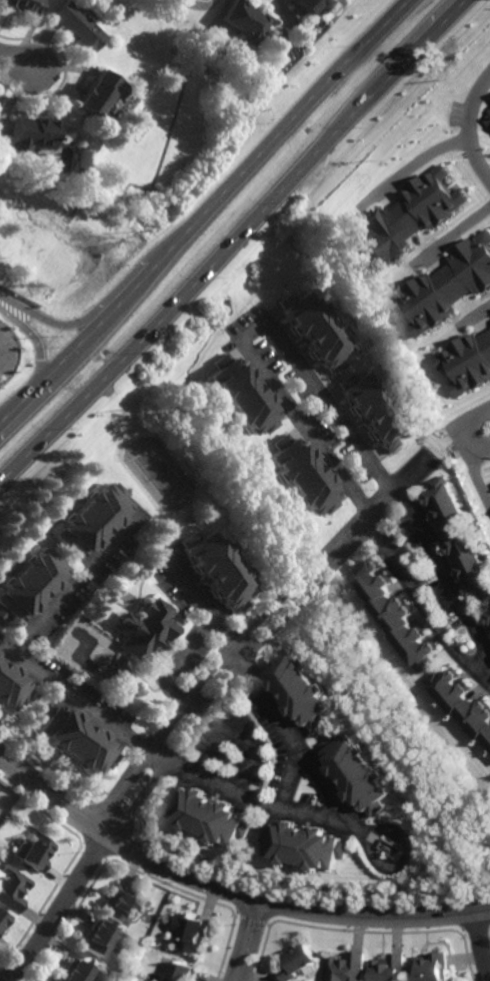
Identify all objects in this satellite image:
building: (23, 6)
building: (312, 6)
building: (245, 23)
building: (77, 27)
road: (17, 60)
building: (97, 96)
building: (489, 101)
building: (485, 116)
road: (470, 126)
building: (32, 134)
road: (417, 163)
road: (207, 210)
building: (405, 218)
road: (452, 235)
road: (228, 239)
building: (447, 284)
road: (477, 312)
road: (53, 322)
building: (317, 329)
road: (249, 332)
road: (33, 336)
building: (467, 361)
road: (78, 373)
building: (243, 395)
building: (376, 410)
road: (489, 419)
road: (489, 421)
road: (469, 464)
park: (159, 474)
building: (302, 476)
road: (382, 503)
building: (95, 518)
building: (457, 538)
road: (334, 552)
building: (218, 570)
road: (442, 578)
road: (79, 584)
building: (31, 586)
building: (489, 602)
road: (420, 610)
building: (393, 613)
building: (486, 619)
building: (147, 629)
building: (489, 633)
road: (172, 668)
building: (117, 670)
building: (14, 686)
building: (302, 689)
building: (461, 702)
road: (237, 733)
building: (78, 740)
building: (361, 774)
building: (145, 777)
road: (292, 780)
road: (305, 816)
building: (208, 817)
building: (1, 838)
building: (307, 848)
building: (395, 851)
building: (35, 852)
road: (396, 869)
building: (12, 888)
road: (228, 888)
building: (122, 903)
road: (59, 909)
building: (3, 918)
building: (189, 931)
building: (98, 935)
road: (245, 939)
road: (482, 945)
building: (297, 962)
building: (346, 967)
building: (431, 967)
building: (388, 968)
building: (71, 971)
building: (181, 971)

